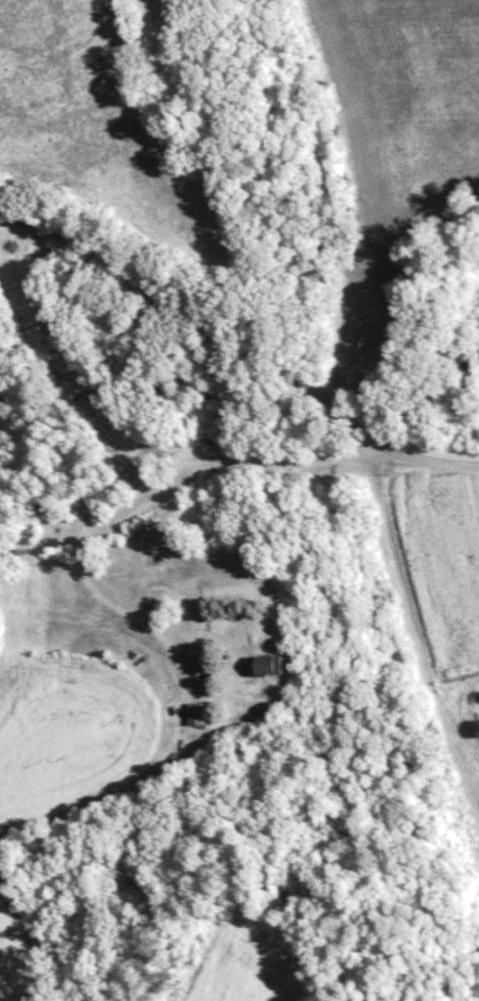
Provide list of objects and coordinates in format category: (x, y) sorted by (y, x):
road: (196, 320)
road: (432, 458)
road: (118, 506)
road: (411, 632)
building: (264, 662)

